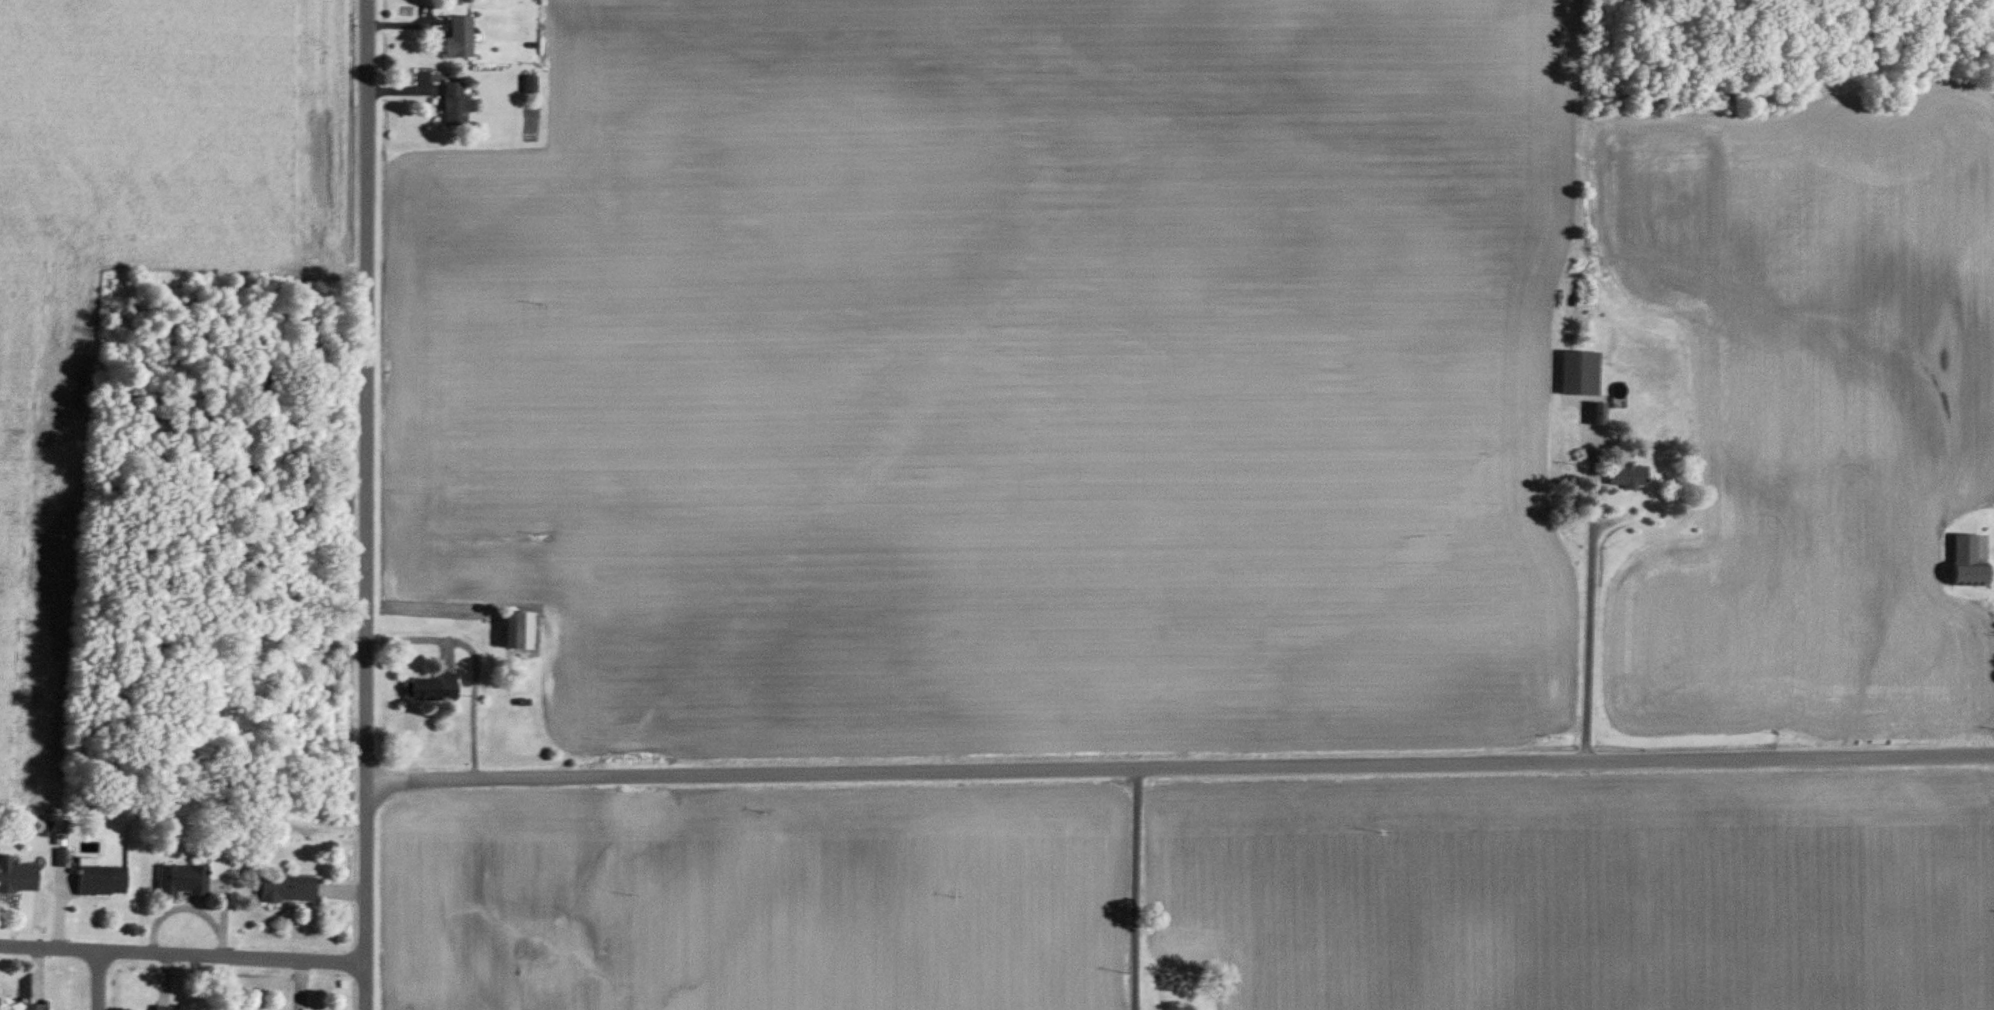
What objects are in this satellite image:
building: (459, 38)
building: (530, 84)
building: (456, 105)
building: (1597, 409)
building: (1628, 475)
road: (367, 504)
building: (1968, 563)
building: (518, 630)
road: (1582, 648)
road: (474, 659)
building: (434, 688)
road: (1180, 766)
building: (17, 877)
building: (101, 881)
building: (181, 882)
road: (1129, 888)
building: (287, 890)
road: (182, 954)
road: (100, 980)
building: (32, 1007)
building: (167, 1008)

